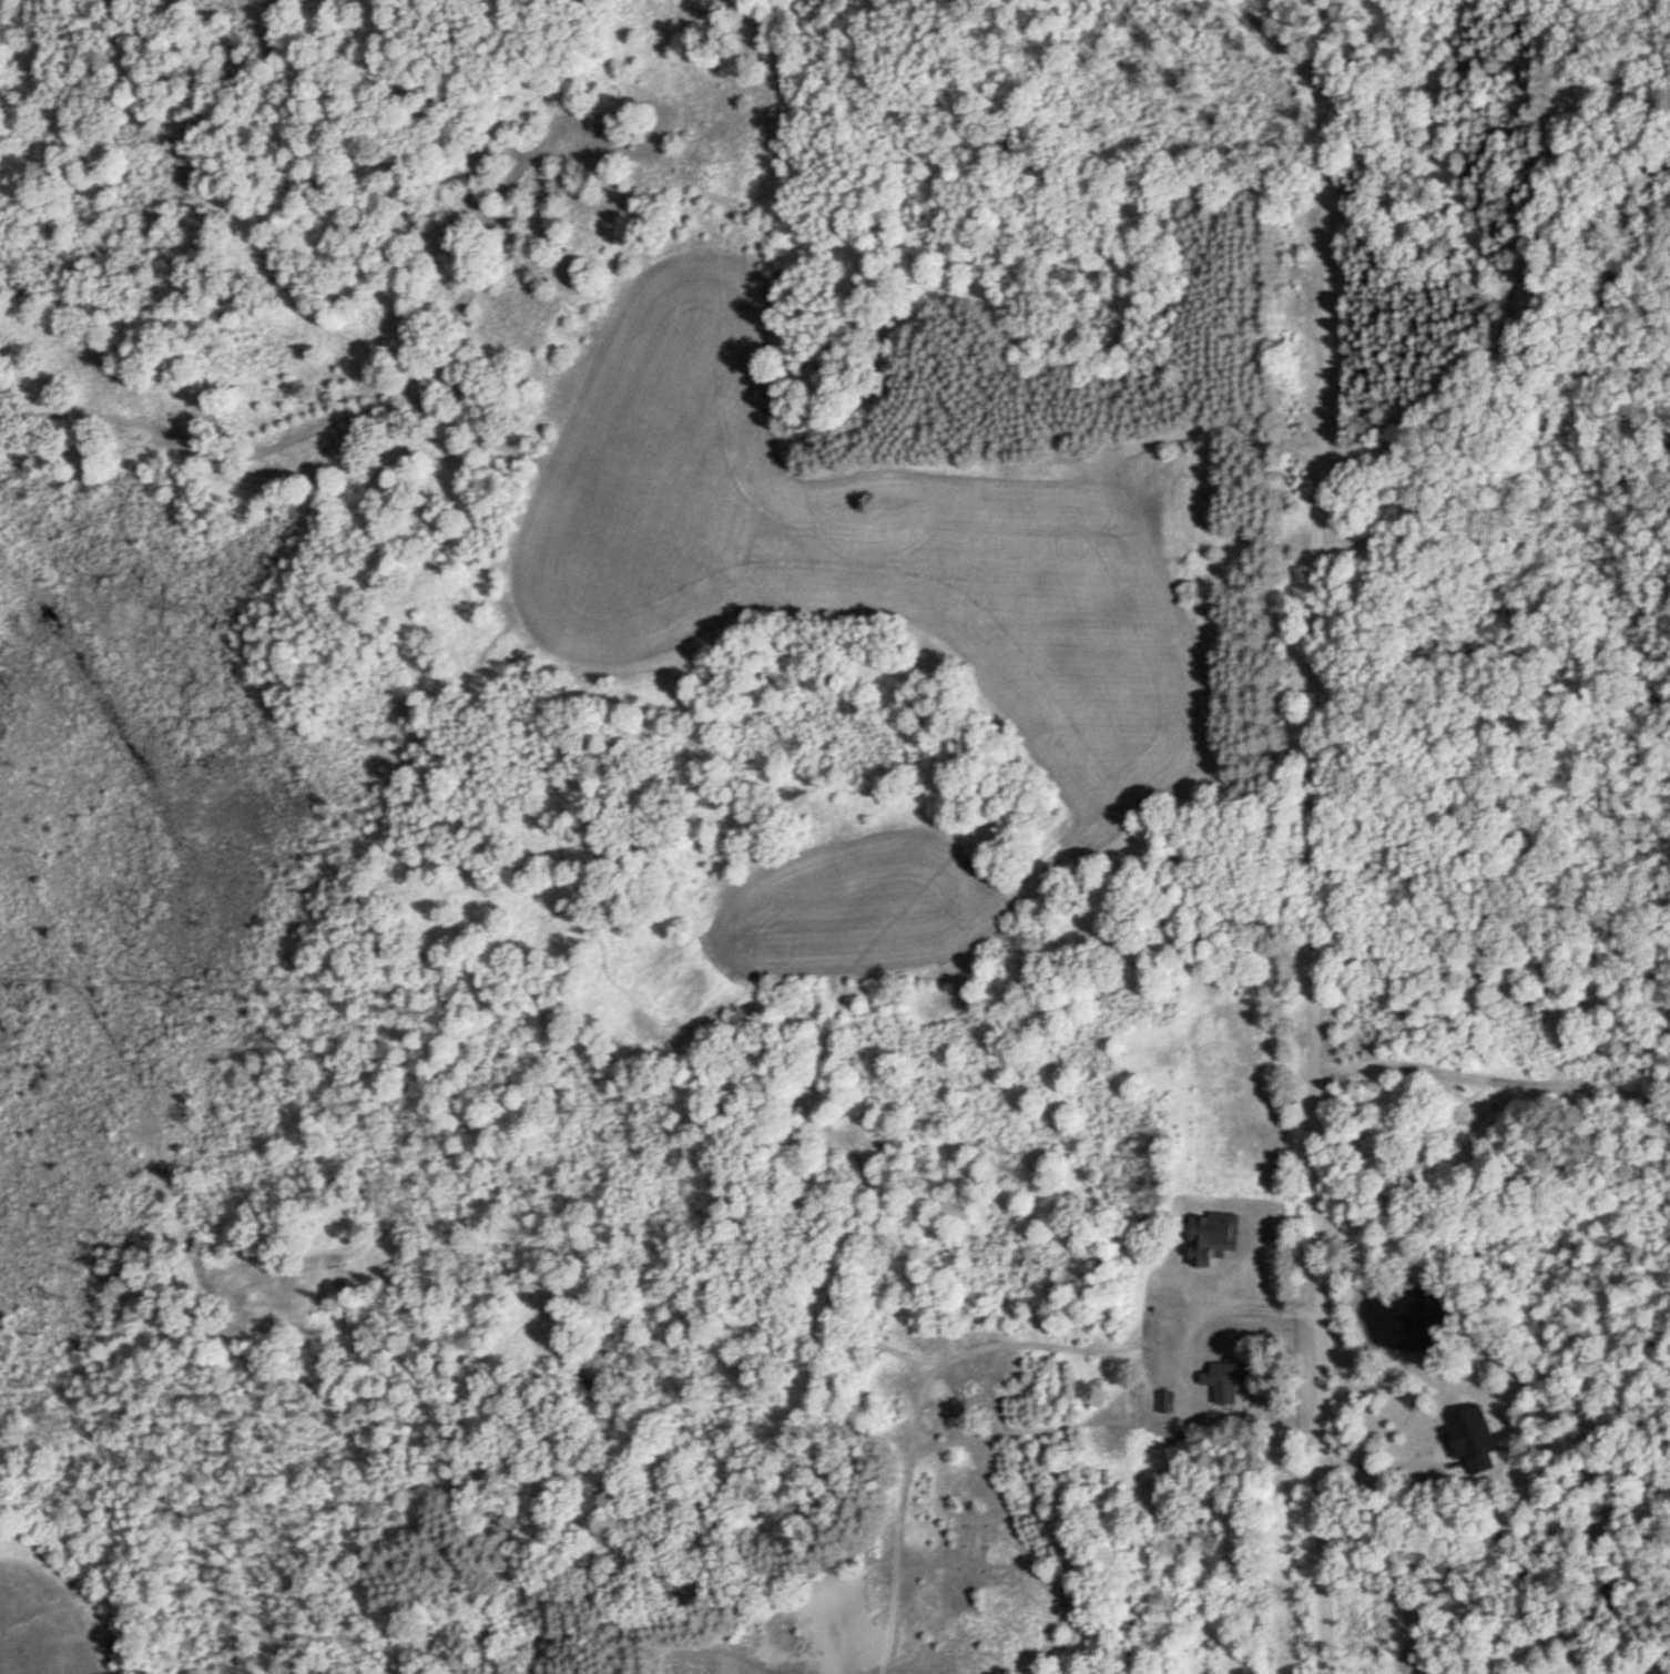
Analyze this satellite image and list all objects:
road: (1276, 38)
road: (1320, 53)
road: (475, 266)
road: (653, 478)
road: (1318, 875)
road: (1495, 970)
building: (1224, 1381)
building: (1167, 1401)

